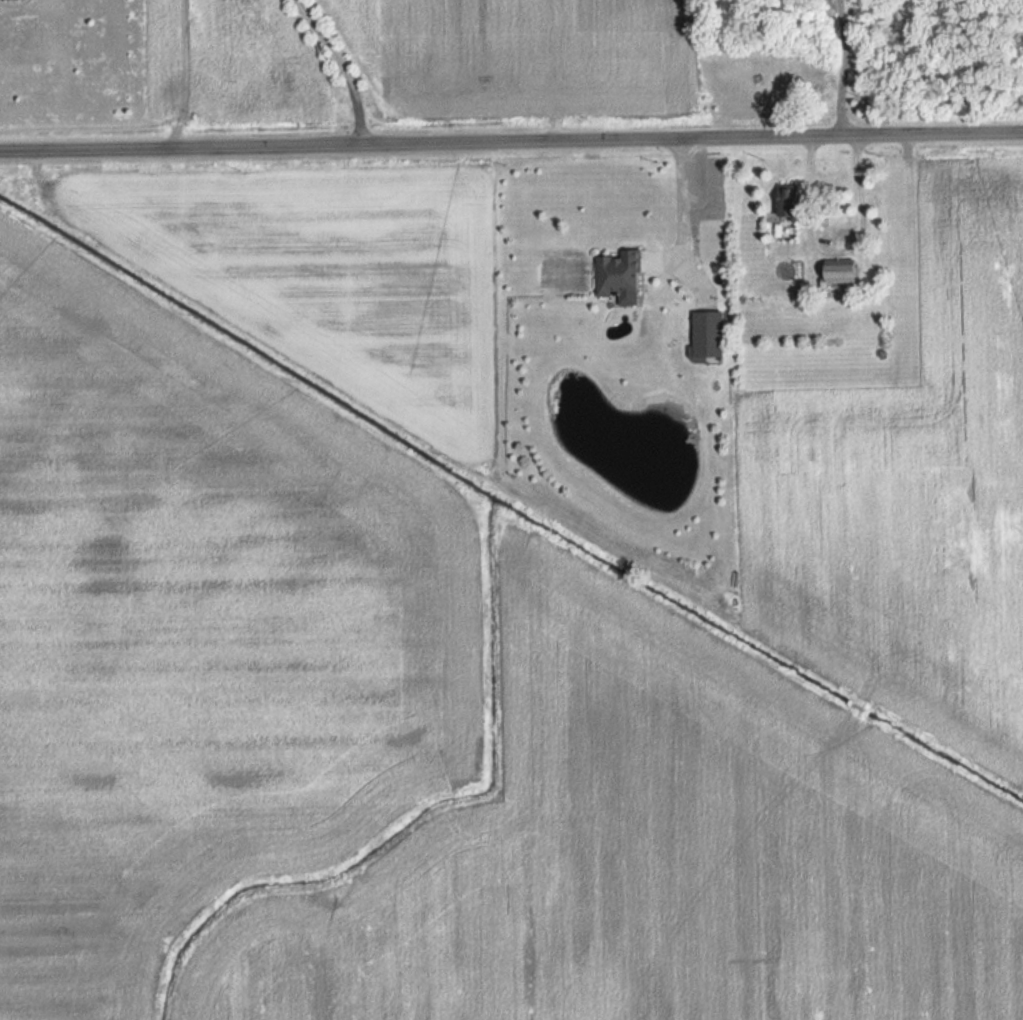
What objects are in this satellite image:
road: (345, 65)
road: (843, 66)
road: (511, 140)
road: (682, 198)
building: (789, 204)
building: (844, 273)
building: (619, 277)
building: (707, 335)

